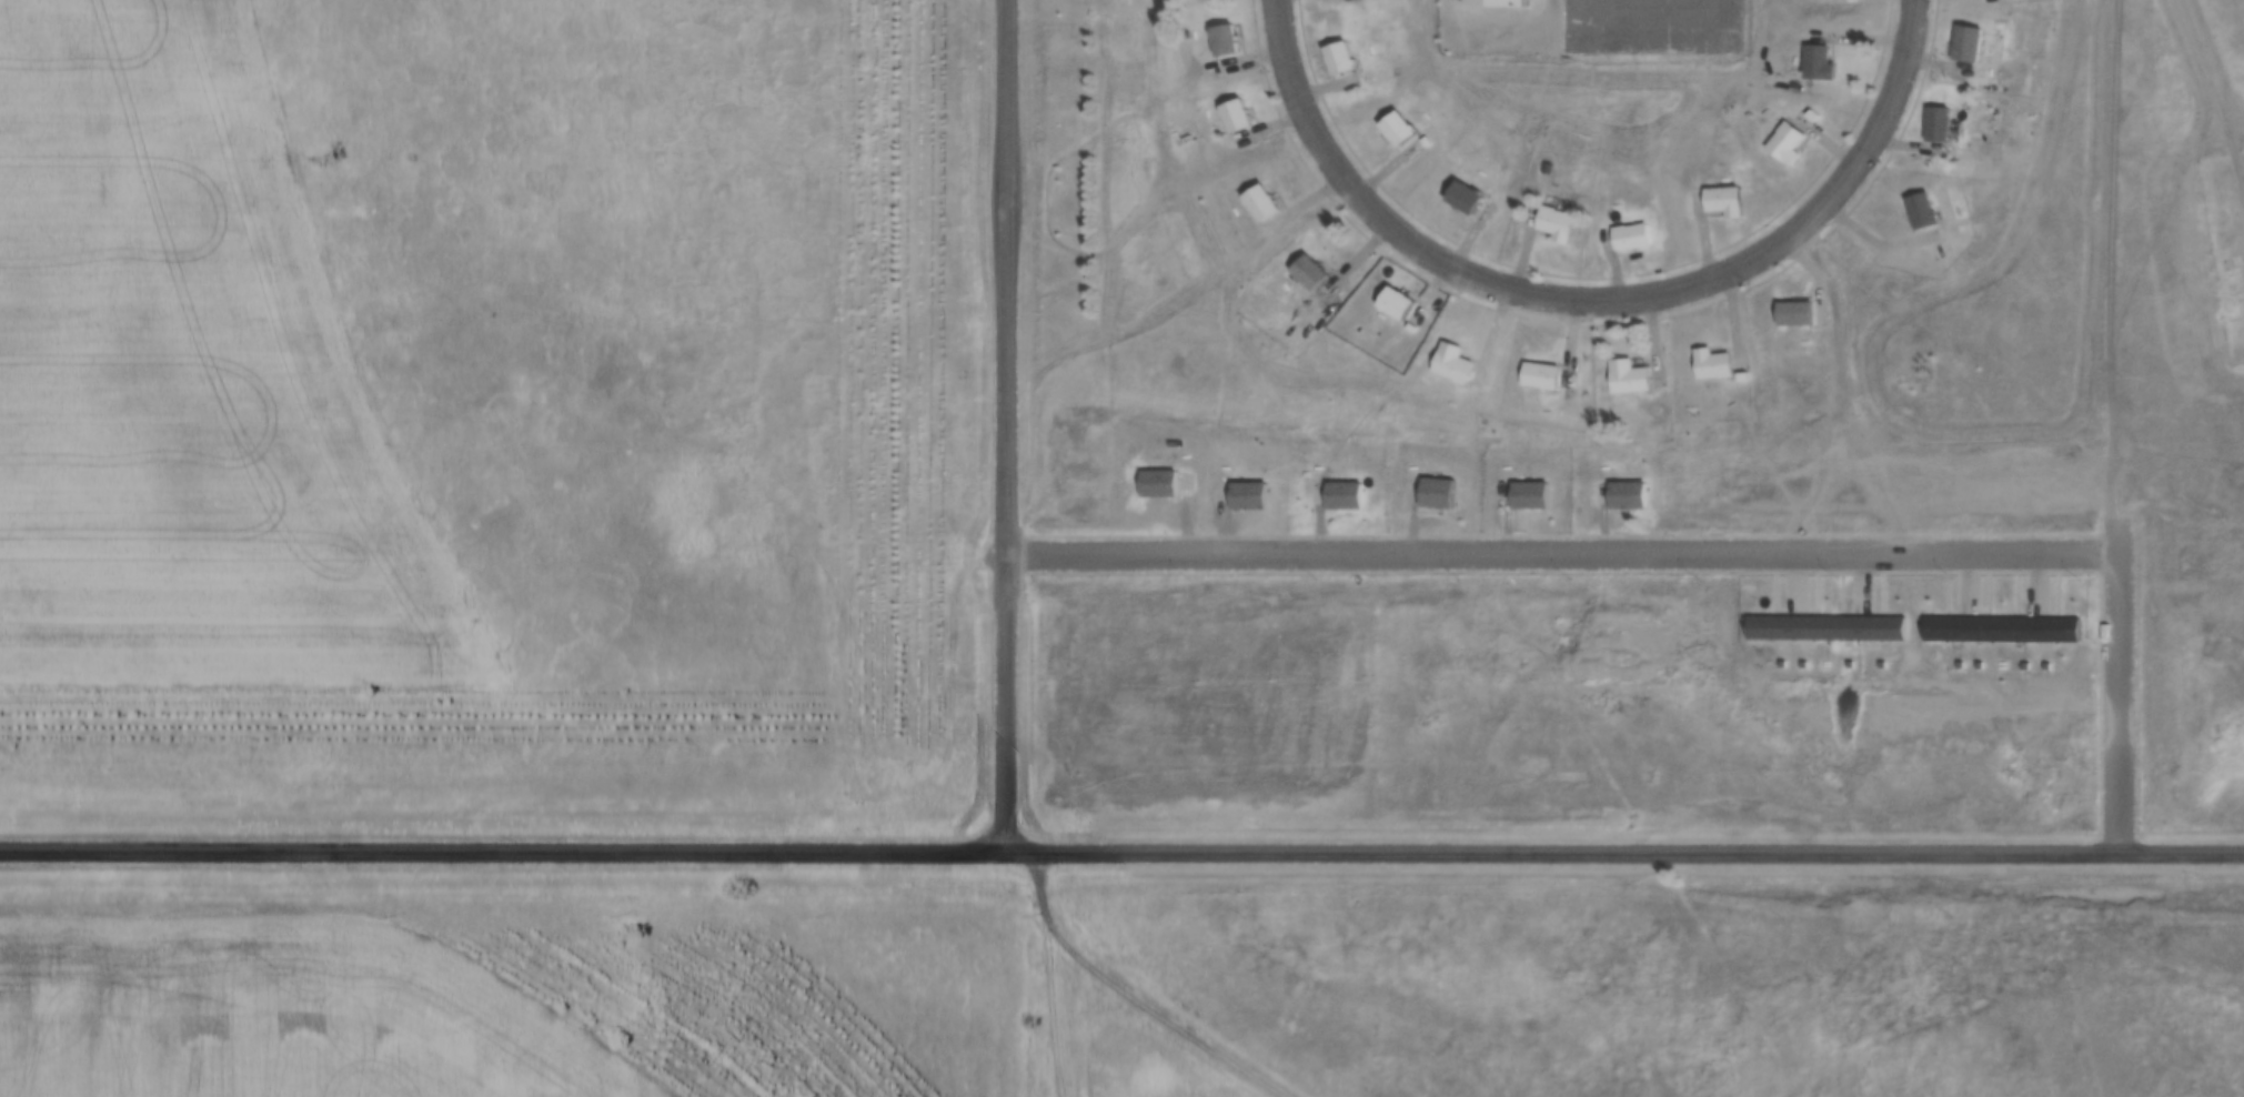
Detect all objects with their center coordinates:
building: (1489, 2)
road: (1581, 19)
parking lot: (1653, 29)
building: (1221, 40)
building: (1966, 42)
building: (1338, 57)
road: (1753, 62)
building: (1817, 62)
road: (2211, 99)
building: (1234, 114)
building: (1810, 115)
building: (1936, 123)
building: (1396, 127)
building: (1784, 143)
building: (1462, 197)
building: (1723, 201)
building: (1259, 202)
building: (1919, 210)
building: (1556, 223)
building: (1630, 235)
park: (2226, 238)
building: (1307, 272)
road: (1593, 300)
building: (1393, 302)
building: (1793, 313)
building: (1450, 362)
building: (1710, 364)
building: (1539, 375)
building: (1626, 378)
building: (1740, 378)
crop: (188, 379)
road: (1004, 426)
building: (1157, 483)
building: (1435, 492)
building: (1247, 494)
building: (1528, 494)
building: (1627, 494)
building: (1342, 495)
road: (1560, 553)
building: (2004, 625)
building: (1829, 627)
road: (2117, 685)
road: (1121, 855)
crop: (284, 1015)

